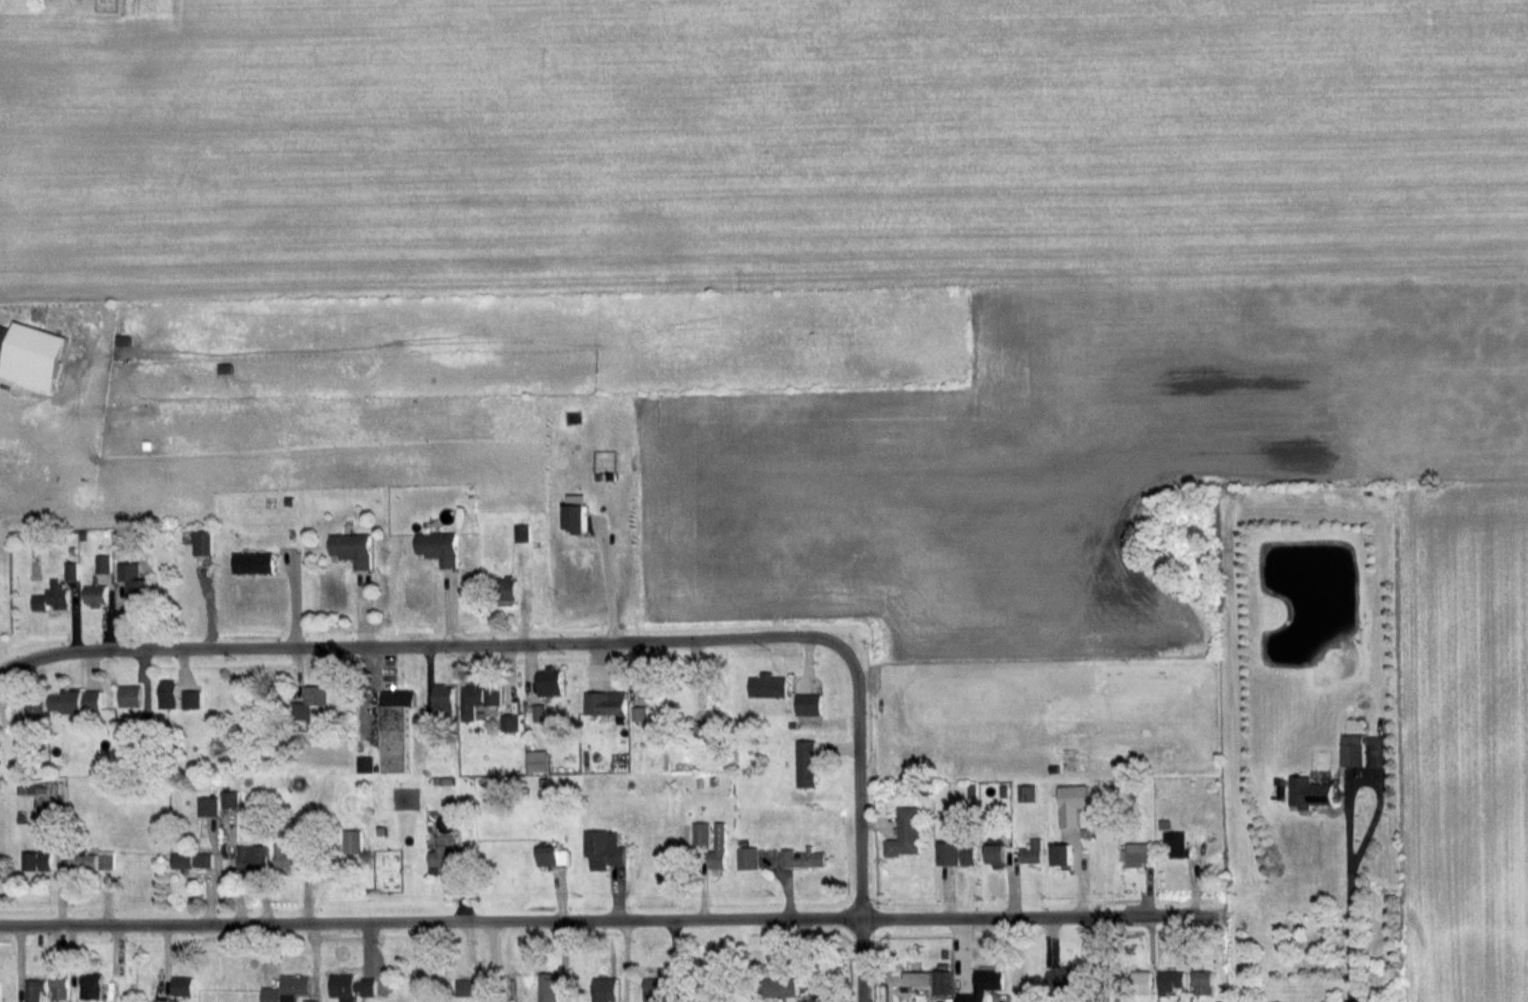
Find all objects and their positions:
building: (4, 335)
building: (34, 355)
building: (578, 512)
building: (522, 532)
building: (203, 542)
building: (441, 546)
building: (355, 548)
building: (255, 562)
building: (104, 563)
building: (72, 570)
building: (136, 585)
building: (511, 587)
building: (97, 594)
building: (53, 597)
road: (422, 643)
building: (550, 681)
building: (768, 685)
building: (648, 686)
building: (169, 693)
building: (131, 695)
building: (479, 697)
building: (192, 698)
building: (444, 699)
building: (76, 701)
building: (310, 701)
building: (605, 702)
building: (809, 703)
building: (35, 709)
building: (539, 712)
building: (640, 713)
crop: (1472, 720)
building: (511, 722)
building: (396, 728)
building: (22, 738)
building: (1353, 749)
building: (538, 759)
building: (807, 763)
building: (366, 764)
road: (1360, 776)
building: (1027, 792)
building: (1310, 792)
building: (231, 798)
building: (1072, 803)
building: (209, 806)
road: (858, 824)
building: (701, 833)
building: (906, 833)
building: (353, 840)
building: (1177, 844)
building: (718, 847)
building: (603, 848)
building: (1032, 851)
building: (958, 852)
building: (1139, 853)
building: (1062, 854)
building: (547, 855)
building: (997, 855)
building: (253, 856)
building: (442, 856)
building: (290, 857)
building: (747, 857)
building: (802, 857)
building: (107, 859)
building: (194, 859)
building: (39, 860)
building: (84, 861)
road: (609, 917)
road: (1343, 933)
road: (1102, 958)
building: (1063, 976)
building: (919, 977)
building: (1142, 980)
building: (1171, 980)
building: (943, 981)
building: (1203, 982)
building: (60, 985)
building: (91, 985)
building: (182, 985)
building: (982, 985)
building: (294, 986)
building: (350, 986)
building: (469, 986)
building: (656, 986)
building: (780, 986)
building: (548, 988)
building: (34, 989)
building: (604, 989)
building: (0, 991)
building: (271, 994)
building: (312, 1001)

